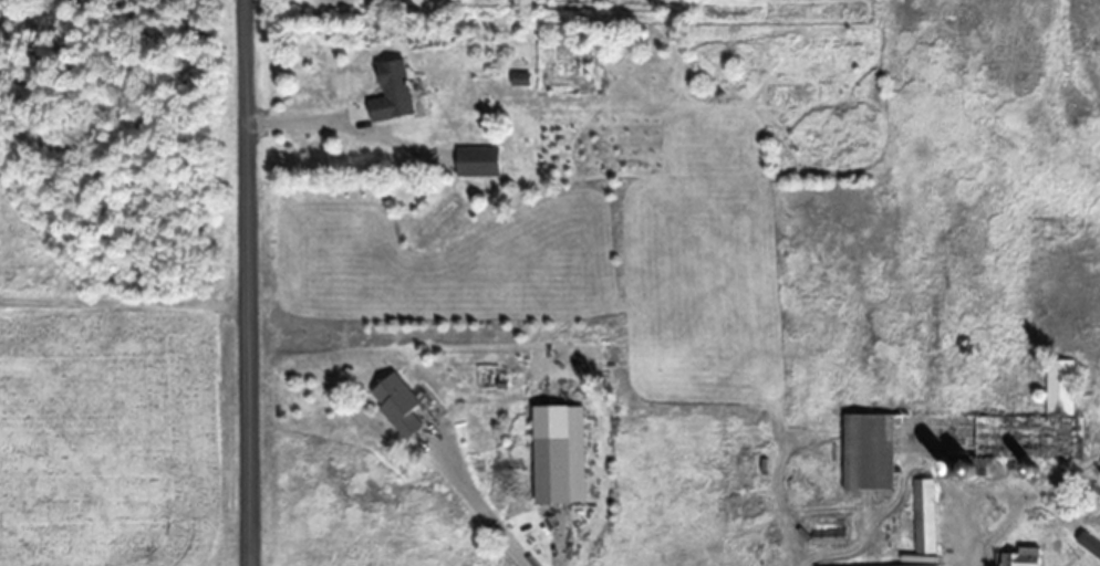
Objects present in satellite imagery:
building: (518, 80)
building: (391, 92)
building: (477, 160)
road: (247, 283)
building: (1060, 385)
building: (396, 402)
building: (866, 450)
building: (551, 468)
building: (922, 523)
building: (826, 525)
building: (1089, 542)
building: (1020, 556)

